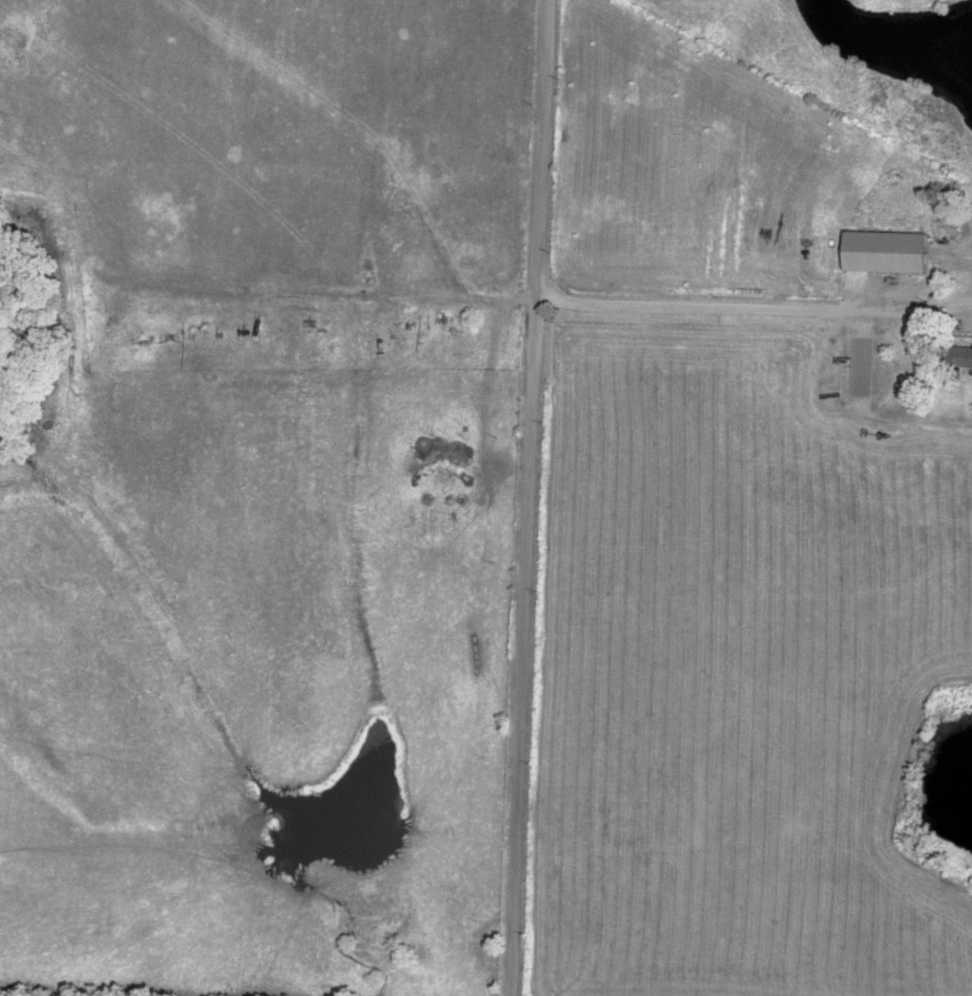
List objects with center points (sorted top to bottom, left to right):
building: (888, 252)
road: (767, 309)
building: (961, 357)
road: (530, 498)

